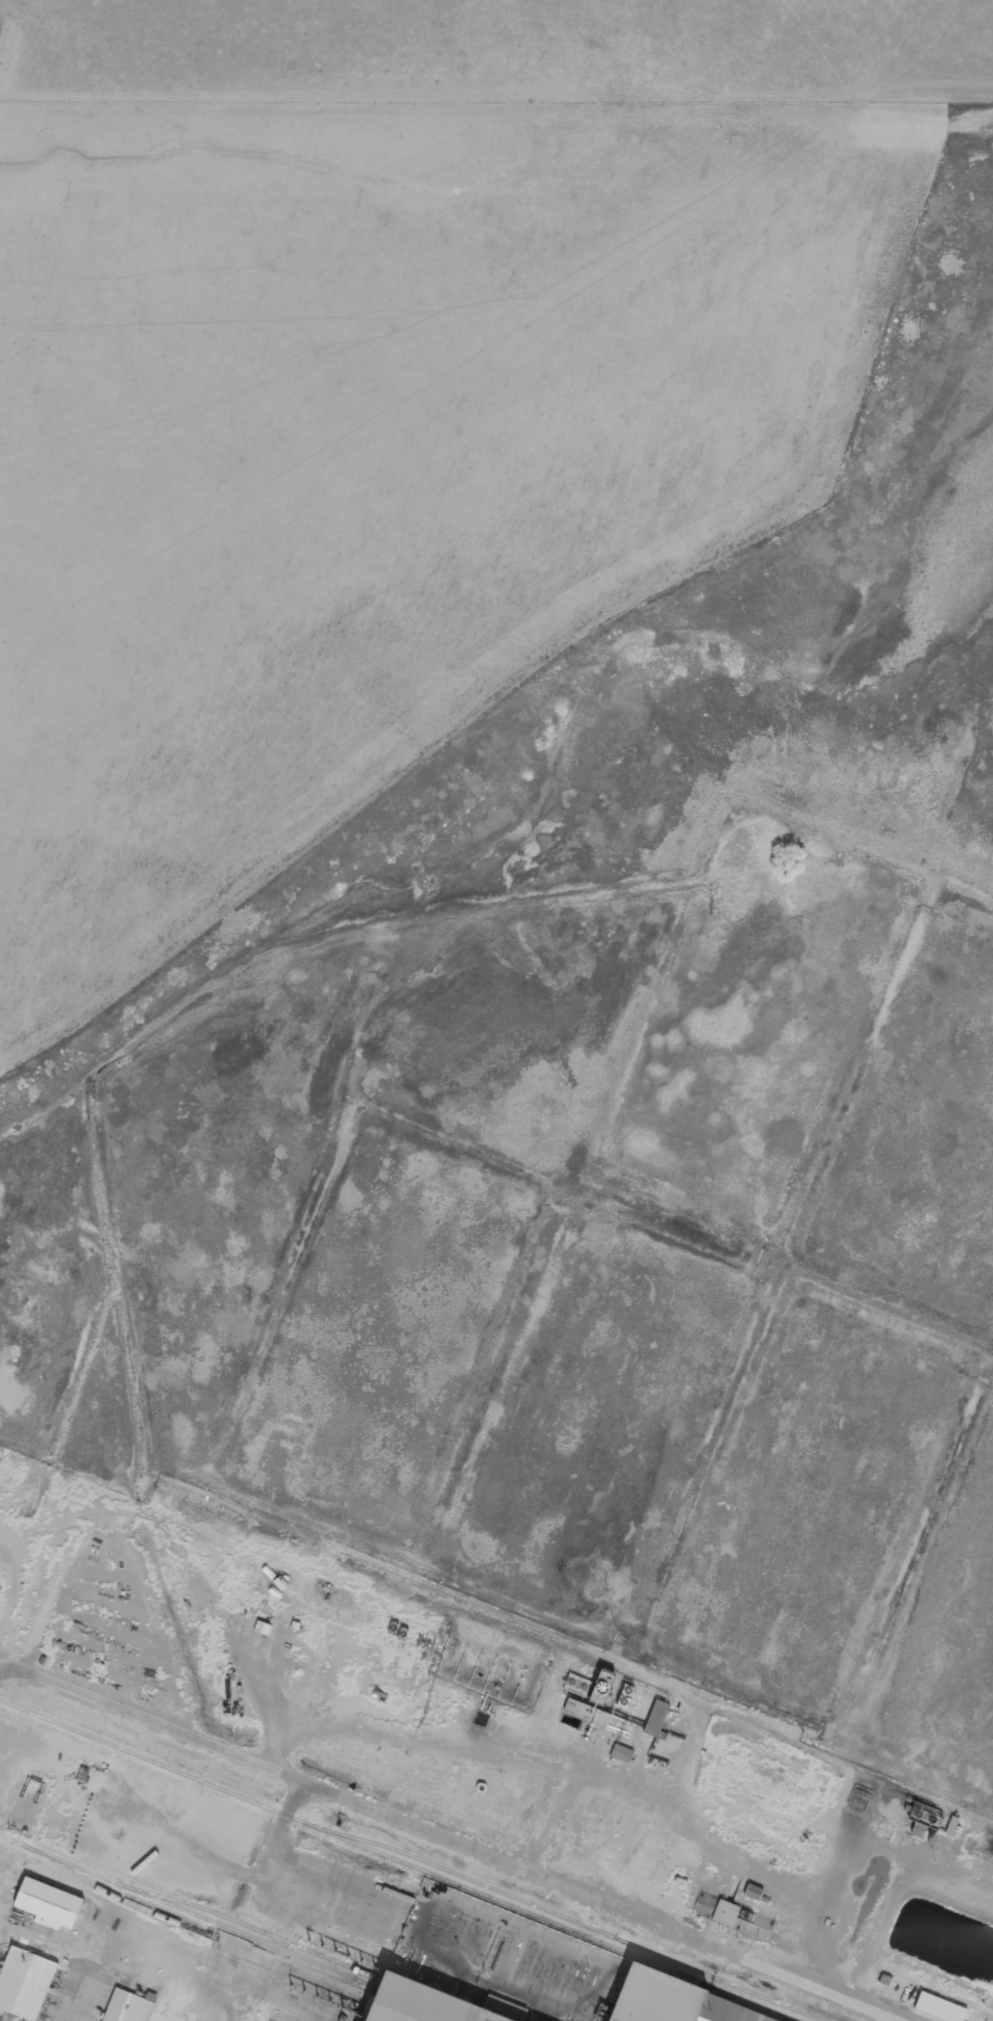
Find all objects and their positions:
building: (588, 1711)
building: (622, 1752)
railway: (397, 1861)
building: (754, 1891)
railway: (123, 1899)
building: (49, 1903)
railway: (185, 1911)
railway: (564, 1917)
building: (727, 1919)
railway: (247, 1925)
railway: (660, 1961)
building: (25, 1982)
building: (672, 2003)
building: (426, 2004)
building: (127, 2007)
building: (941, 2007)

